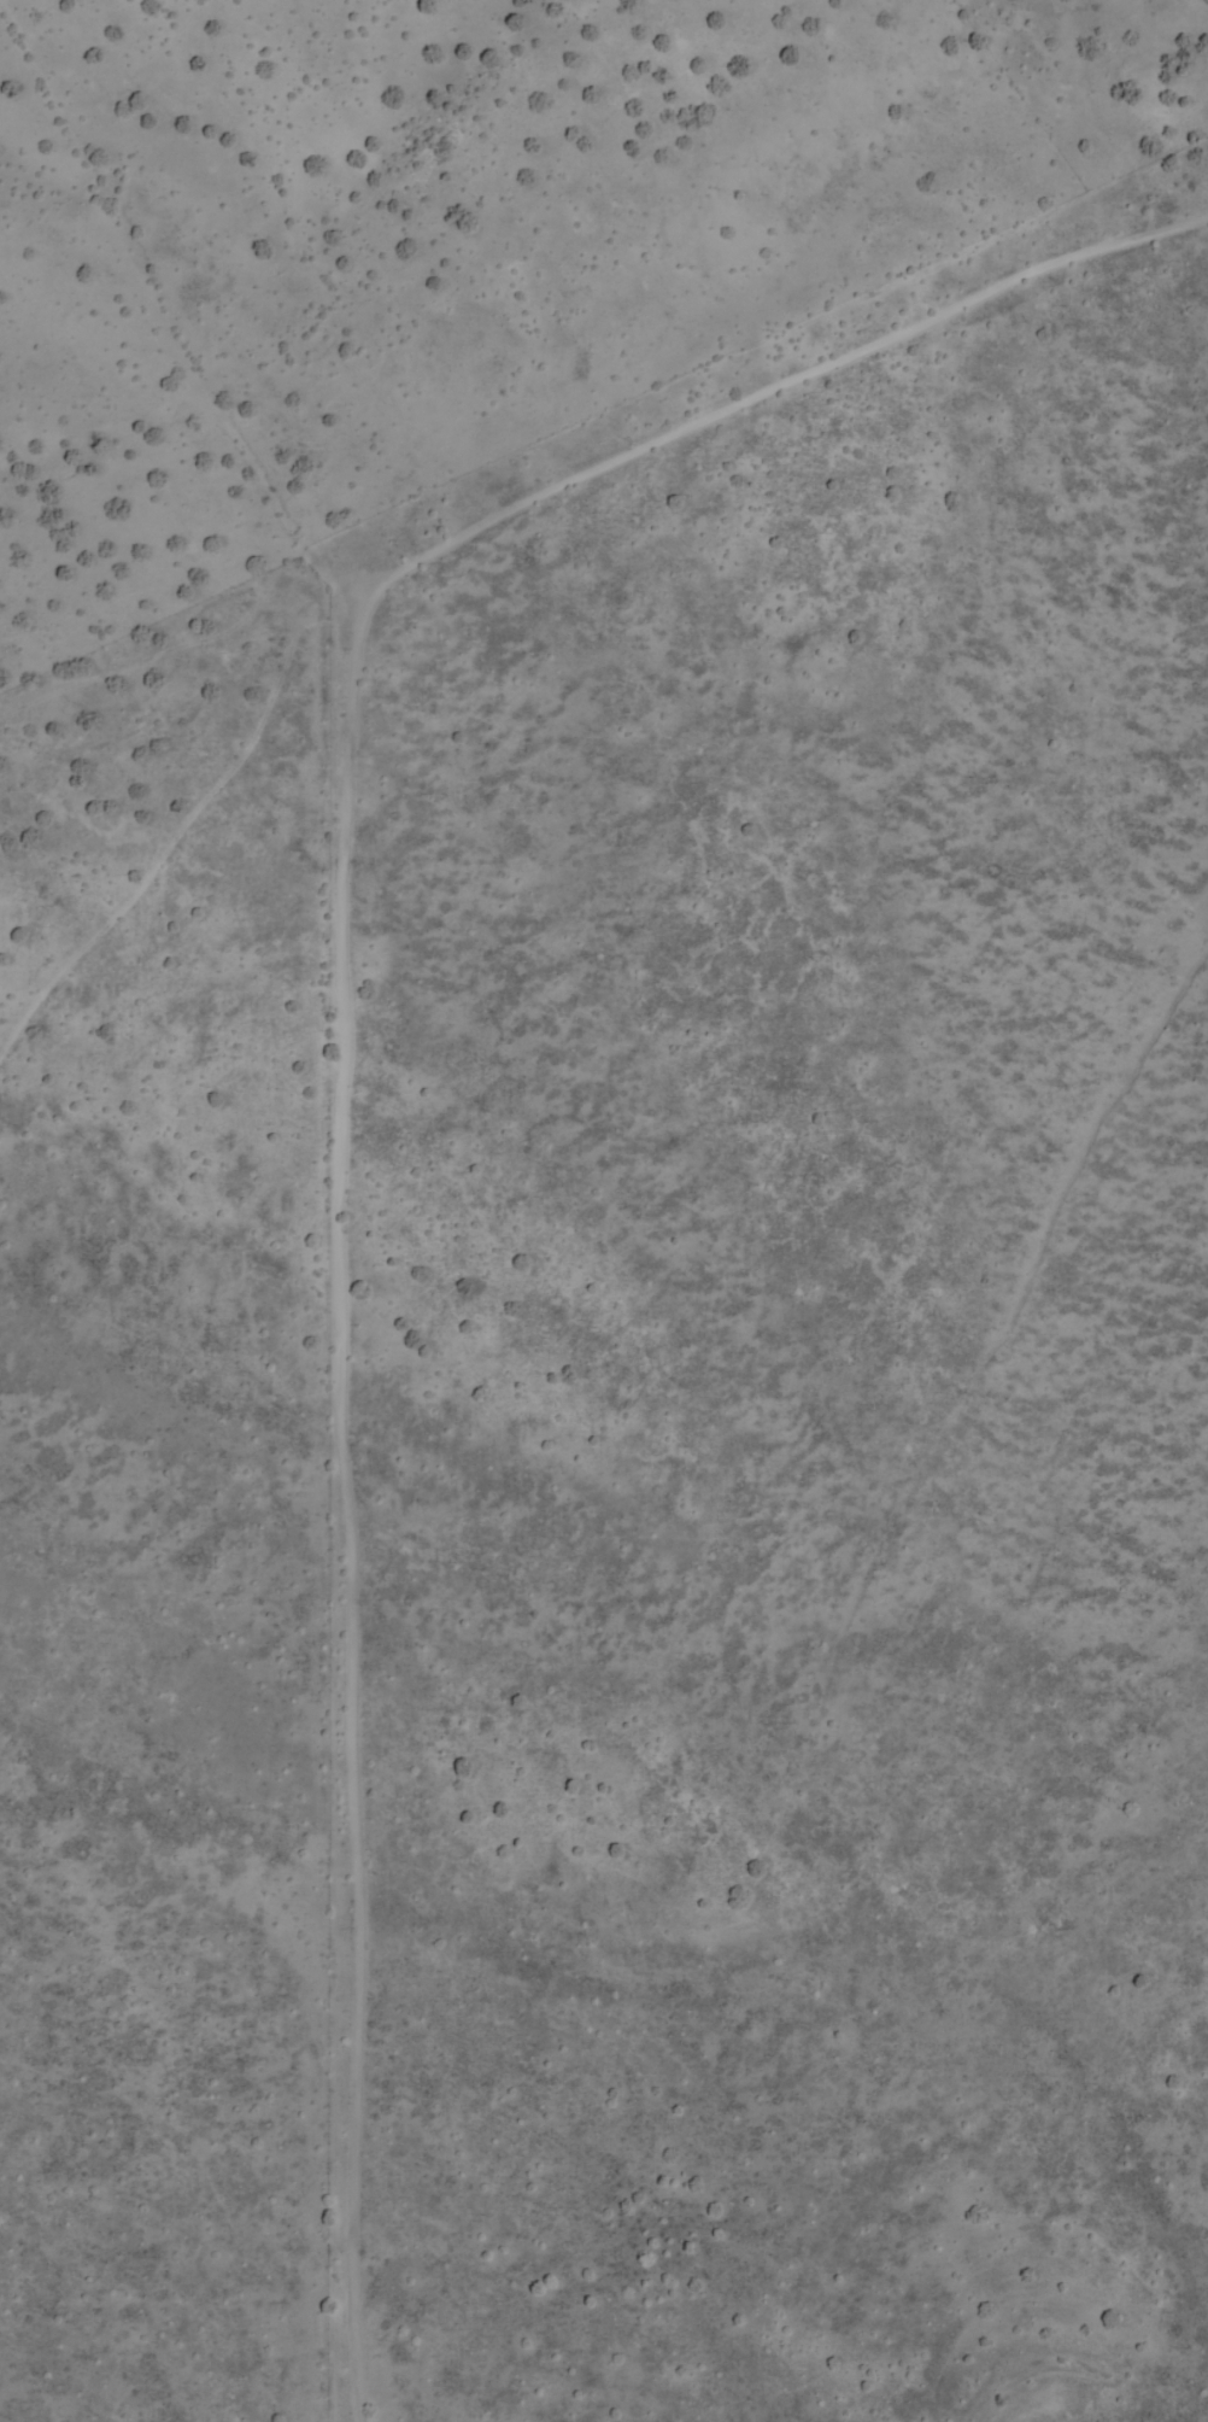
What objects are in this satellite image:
road: (599, 433)
road: (334, 1502)

